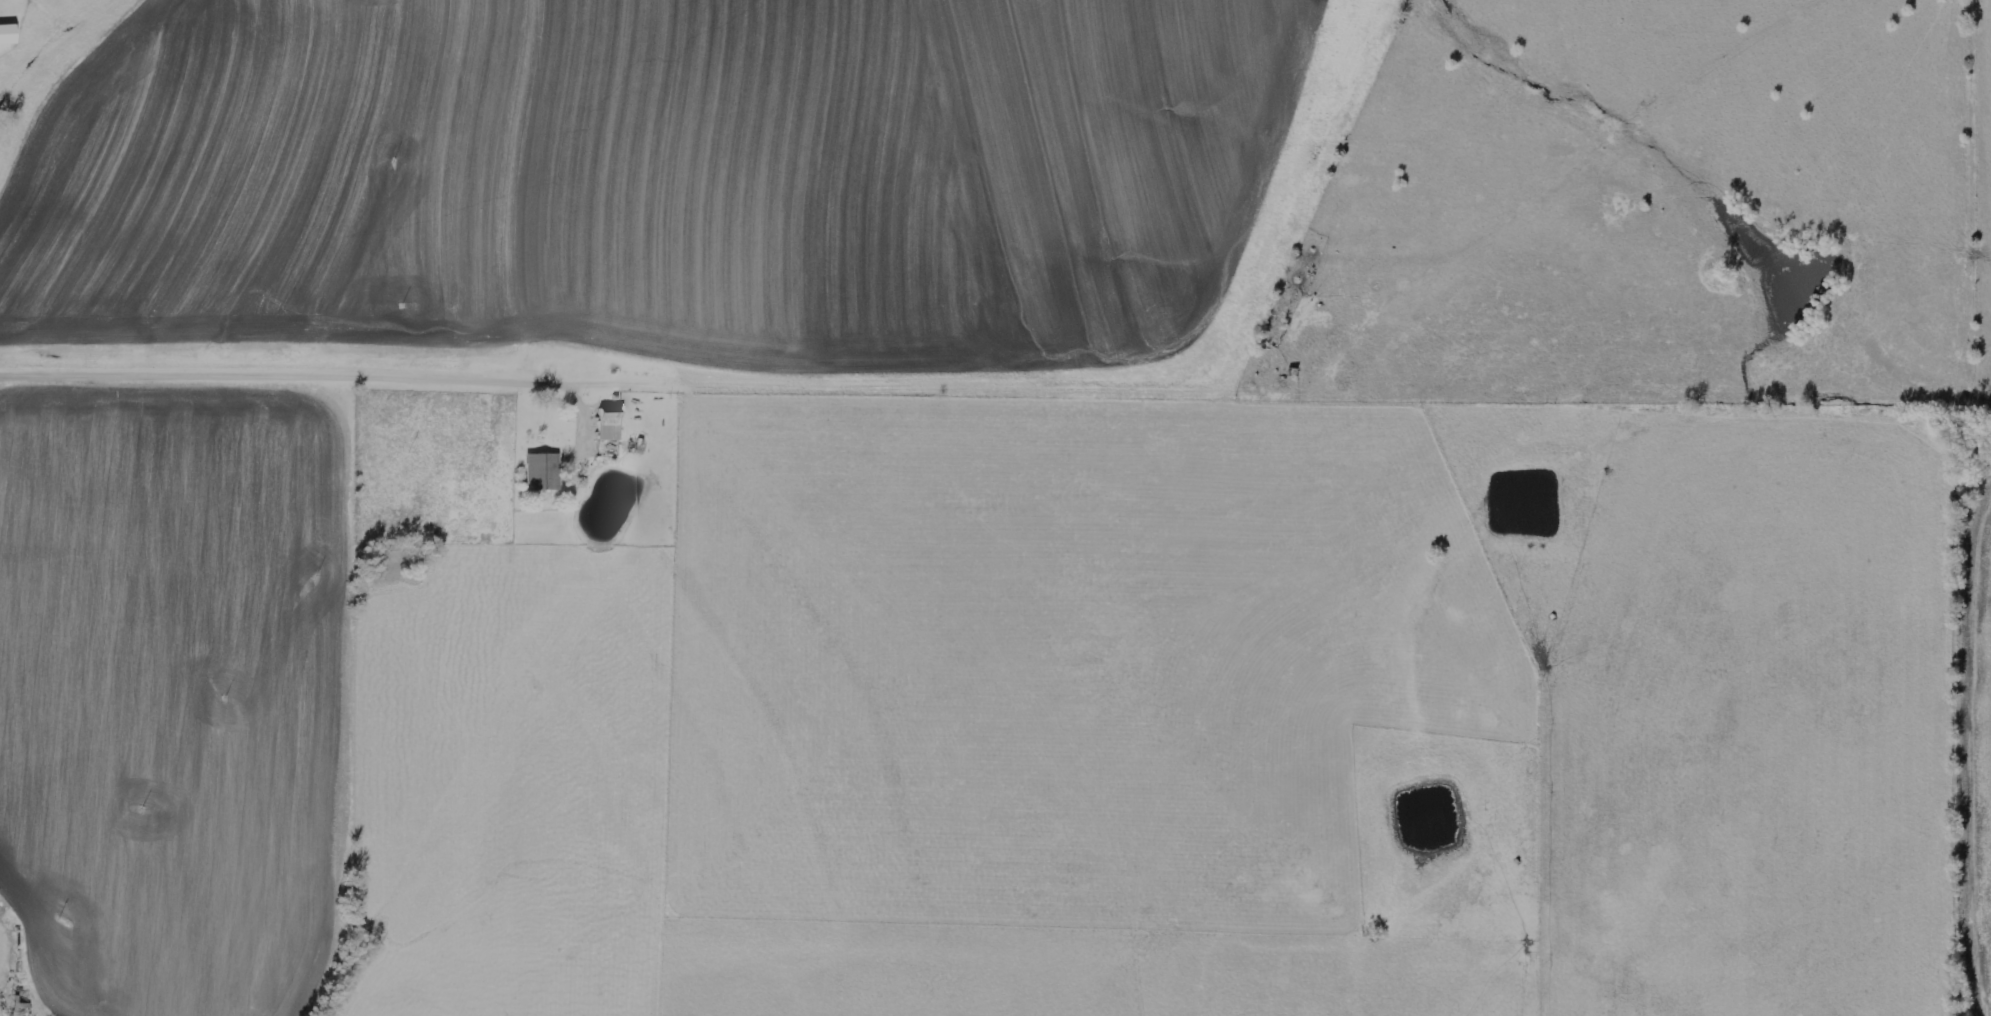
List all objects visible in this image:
building: (9, 35)
road: (297, 377)
building: (546, 473)

